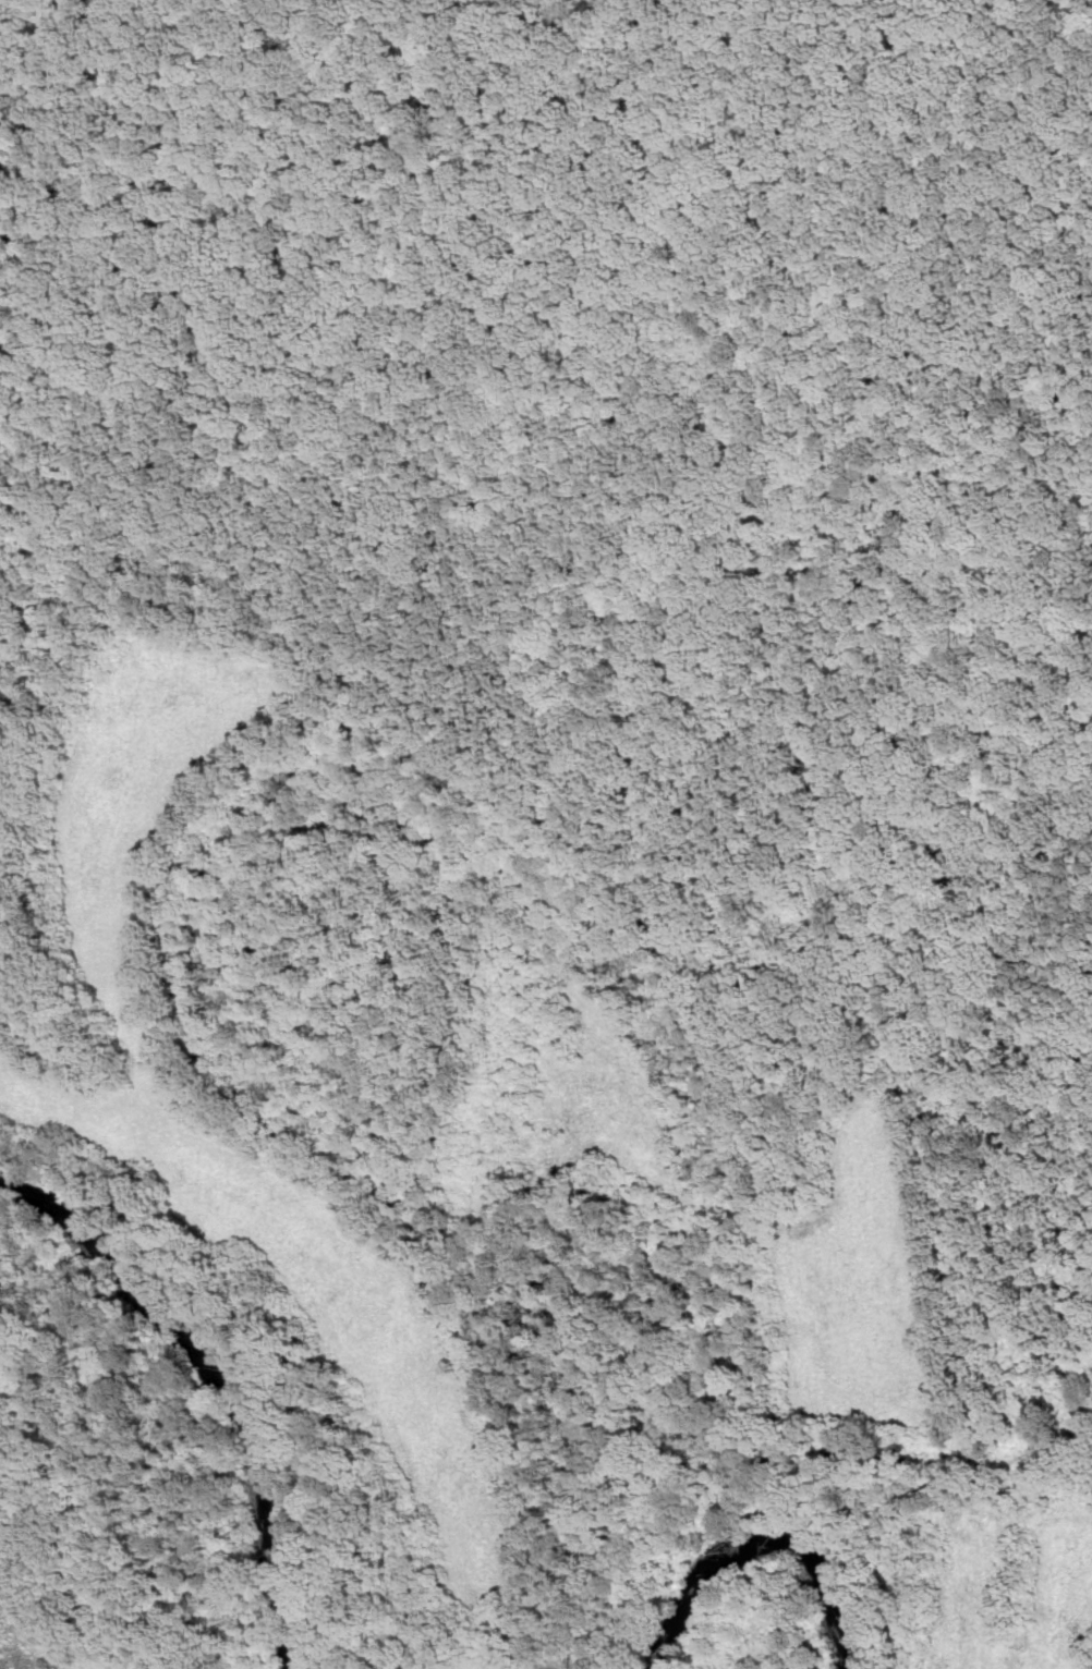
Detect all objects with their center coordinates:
river: (217, 1387)
river: (756, 1542)

